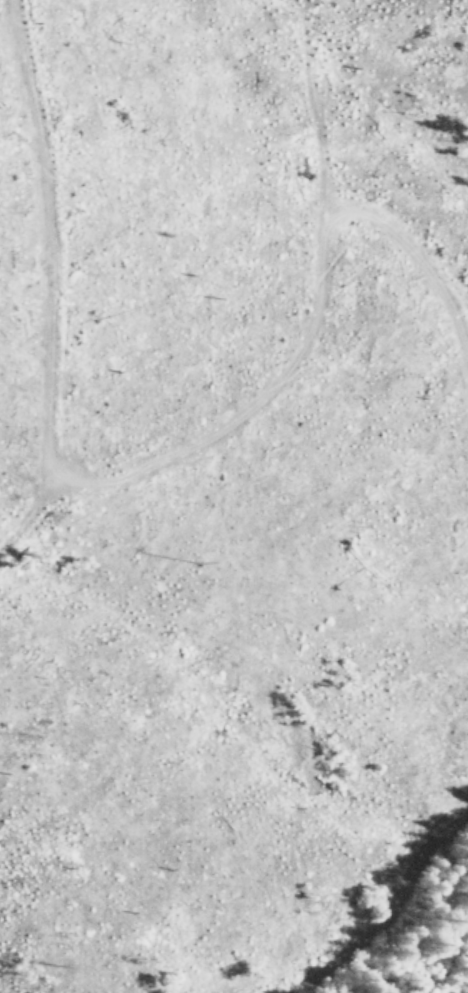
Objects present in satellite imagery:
road: (391, 926)

